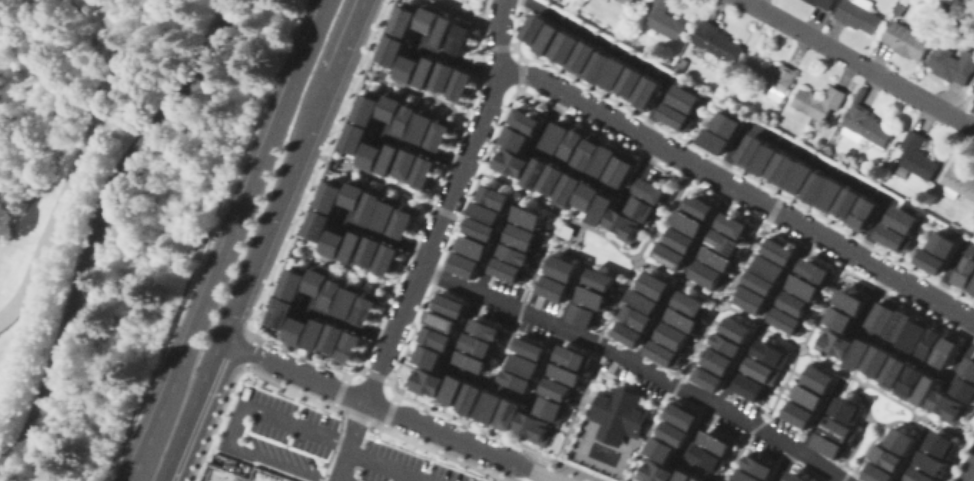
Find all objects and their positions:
building: (559, 1)
building: (630, 2)
building: (823, 3)
road: (464, 14)
building: (858, 14)
building: (431, 19)
building: (665, 19)
building: (406, 20)
road: (220, 24)
building: (535, 29)
building: (447, 32)
road: (347, 35)
building: (462, 38)
building: (551, 38)
building: (907, 40)
building: (718, 42)
building: (568, 47)
building: (394, 52)
road: (625, 55)
building: (585, 57)
road: (456, 60)
road: (860, 62)
building: (953, 63)
building: (601, 66)
building: (410, 70)
building: (428, 72)
building: (616, 73)
building: (771, 75)
building: (446, 78)
building: (633, 83)
building: (463, 86)
building: (973, 92)
building: (649, 93)
road: (433, 97)
building: (688, 99)
building: (819, 103)
building: (369, 108)
building: (393, 108)
building: (678, 117)
building: (409, 119)
building: (525, 122)
building: (729, 124)
building: (866, 125)
building: (425, 127)
building: (442, 135)
building: (356, 138)
building: (558, 138)
building: (715, 138)
building: (517, 139)
building: (574, 145)
road: (423, 149)
building: (749, 150)
building: (590, 154)
building: (372, 157)
building: (916, 157)
building: (391, 159)
building: (764, 159)
building: (604, 161)
track: (71, 163)
road: (819, 163)
building: (511, 164)
building: (408, 165)
building: (781, 169)
building: (620, 172)
building: (425, 173)
road: (580, 173)
road: (370, 174)
building: (535, 174)
building: (799, 178)
building: (552, 180)
building: (959, 180)
building: (814, 187)
road: (738, 188)
building: (568, 191)
building: (653, 192)
building: (356, 193)
building: (830, 194)
road: (248, 195)
building: (331, 195)
building: (587, 197)
building: (494, 198)
road: (448, 203)
building: (847, 203)
building: (371, 204)
building: (699, 206)
road: (548, 207)
road: (669, 210)
building: (644, 211)
building: (387, 212)
building: (601, 212)
building: (863, 213)
building: (485, 214)
building: (529, 219)
building: (403, 220)
building: (907, 220)
building: (689, 222)
building: (318, 224)
road: (94, 225)
building: (733, 225)
building: (624, 228)
building: (566, 231)
building: (480, 232)
road: (385, 235)
road: (263, 238)
building: (896, 238)
building: (524, 239)
building: (681, 239)
road: (160, 240)
road: (210, 240)
building: (725, 242)
building: (334, 243)
building: (947, 245)
building: (354, 246)
building: (474, 249)
building: (779, 250)
building: (371, 251)
park: (601, 252)
road: (749, 252)
building: (671, 255)
building: (516, 257)
building: (388, 258)
building: (717, 258)
building: (934, 263)
road: (636, 264)
building: (770, 266)
building: (464, 267)
building: (563, 268)
building: (814, 269)
road: (952, 269)
building: (509, 272)
building: (966, 272)
road: (360, 273)
road: (685, 274)
building: (707, 274)
road: (680, 277)
building: (319, 279)
building: (294, 281)
building: (601, 282)
building: (761, 282)
building: (654, 284)
building: (805, 286)
building: (973, 287)
building: (555, 290)
building: (335, 292)
building: (752, 298)
building: (596, 299)
road: (831, 299)
building: (350, 300)
building: (643, 300)
building: (850, 300)
building: (690, 302)
building: (796, 302)
building: (451, 305)
building: (367, 308)
road: (724, 308)
building: (281, 312)
building: (883, 315)
building: (637, 316)
building: (585, 317)
building: (839, 317)
building: (683, 318)
building: (787, 319)
building: (442, 321)
road: (349, 323)
road: (763, 323)
building: (900, 325)
road: (512, 328)
building: (736, 328)
building: (486, 329)
building: (297, 330)
building: (317, 333)
building: (627, 333)
building: (915, 334)
building: (673, 335)
building: (435, 336)
building: (334, 337)
building: (930, 342)
building: (727, 343)
building: (478, 344)
building: (833, 344)
building: (350, 346)
building: (530, 348)
road: (898, 350)
building: (946, 350)
road: (805, 352)
building: (771, 353)
building: (859, 353)
building: (664, 354)
building: (428, 355)
building: (573, 357)
building: (717, 359)
building: (472, 361)
building: (876, 361)
building: (525, 364)
road: (638, 364)
road: (741, 364)
building: (968, 367)
building: (762, 369)
building: (566, 373)
building: (893, 373)
road: (475, 377)
building: (708, 377)
building: (817, 377)
building: (517, 380)
building: (426, 381)
building: (910, 382)
road: (586, 383)
building: (751, 387)
building: (558, 388)
building: (964, 388)
building: (452, 389)
building: (926, 390)
road: (672, 394)
building: (807, 395)
road: (890, 395)
building: (470, 398)
building: (491, 407)
building: (551, 407)
building: (948, 407)
building: (846, 409)
road: (388, 410)
building: (798, 413)
building: (680, 414)
building: (508, 415)
building: (619, 416)
road: (822, 418)
road: (235, 420)
road: (765, 420)
road: (876, 421)
building: (534, 427)
building: (839, 429)
building: (673, 432)
road: (161, 437)
road: (350, 440)
building: (900, 441)
building: (719, 442)
road: (513, 443)
building: (940, 444)
parking lot: (321, 445)
building: (829, 445)
building: (661, 448)
road: (583, 449)
building: (886, 456)
road: (914, 456)
building: (711, 458)
building: (931, 462)
road: (785, 464)
road: (388, 465)
building: (761, 467)
road: (969, 470)
building: (653, 471)
road: (850, 471)
building: (876, 472)
building: (921, 475)
building: (684, 476)
road: (846, 476)
building: (749, 477)
building: (797, 477)
road: (214, 478)
road: (590, 478)
building: (698, 478)

